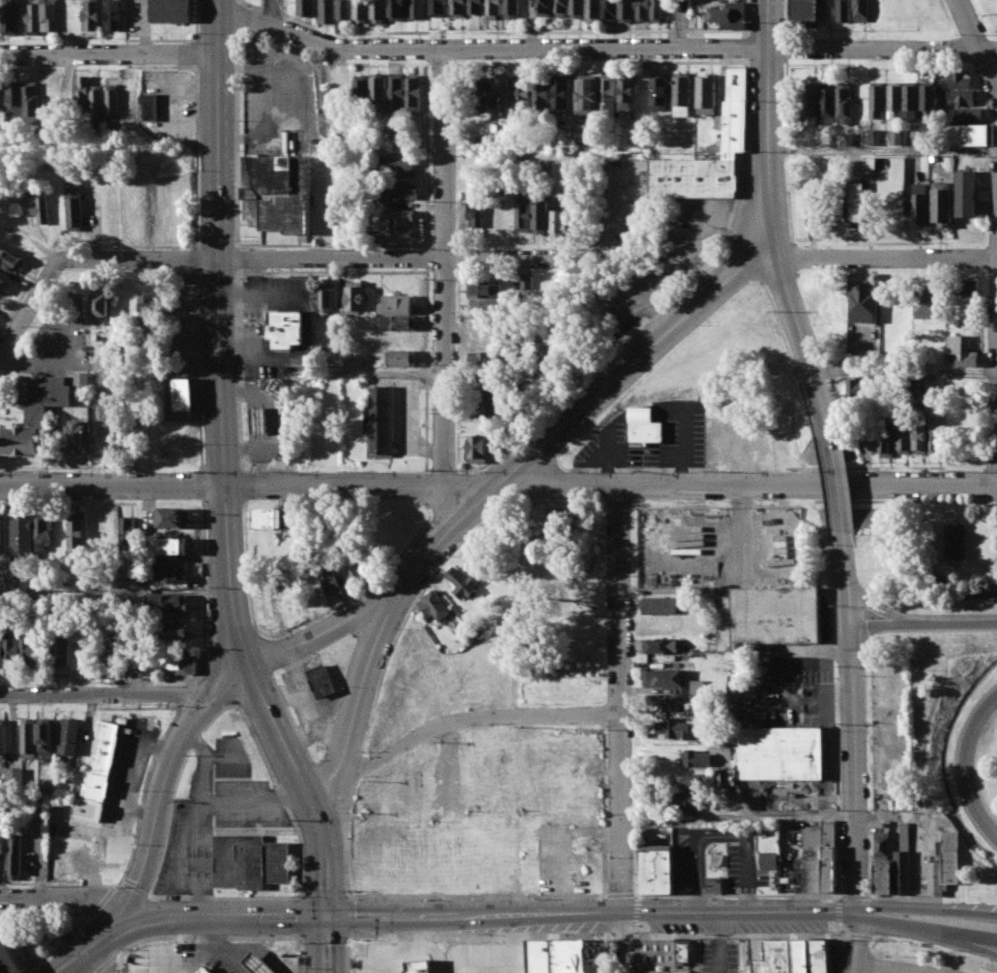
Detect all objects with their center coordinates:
road: (246, 3)
building: (477, 6)
building: (306, 7)
building: (439, 8)
building: (459, 8)
building: (512, 8)
building: (545, 8)
building: (562, 8)
building: (578, 8)
building: (417, 9)
building: (495, 9)
building: (658, 9)
building: (378, 10)
building: (397, 10)
building: (594, 10)
building: (610, 10)
building: (627, 10)
building: (643, 10)
building: (841, 10)
building: (861, 10)
building: (172, 11)
building: (327, 11)
building: (344, 11)
building: (361, 11)
building: (804, 13)
building: (92, 14)
building: (113, 14)
building: (50, 15)
building: (10, 16)
building: (34, 17)
road: (245, 17)
road: (283, 17)
building: (728, 17)
road: (748, 18)
road: (672, 23)
road: (978, 44)
road: (605, 47)
road: (748, 47)
road: (109, 53)
building: (954, 80)
building: (359, 90)
building: (82, 91)
building: (376, 92)
building: (395, 92)
building: (502, 92)
building: (523, 92)
building: (542, 92)
building: (659, 92)
building: (588, 93)
building: (628, 93)
building: (412, 94)
building: (481, 94)
building: (561, 94)
building: (682, 94)
building: (706, 94)
building: (610, 95)
building: (1, 97)
building: (15, 97)
building: (32, 97)
building: (958, 98)
road: (280, 99)
building: (876, 100)
building: (909, 100)
parking lot: (277, 101)
road: (768, 101)
building: (892, 101)
building: (926, 101)
building: (98, 102)
building: (825, 102)
building: (114, 103)
building: (842, 103)
building: (809, 104)
building: (150, 107)
building: (966, 115)
building: (734, 126)
road: (238, 135)
building: (968, 135)
building: (874, 137)
building: (895, 137)
building: (845, 139)
building: (414, 142)
road: (882, 149)
building: (869, 163)
building: (393, 166)
building: (397, 192)
building: (965, 193)
building: (281, 195)
building: (858, 201)
building: (941, 203)
building: (921, 204)
building: (42, 207)
building: (76, 209)
building: (813, 209)
building: (475, 213)
building: (540, 213)
building: (523, 214)
building: (390, 220)
building: (558, 223)
road: (765, 229)
road: (422, 245)
road: (427, 247)
road: (880, 256)
road: (321, 257)
road: (238, 258)
road: (427, 258)
building: (11, 260)
road: (780, 276)
building: (525, 281)
building: (3, 285)
building: (964, 287)
building: (482, 289)
road: (445, 292)
building: (328, 297)
building: (355, 297)
building: (928, 300)
building: (863, 302)
building: (481, 303)
building: (395, 304)
road: (31, 306)
road: (668, 306)
building: (100, 308)
building: (396, 323)
building: (286, 329)
road: (220, 332)
building: (481, 338)
building: (961, 351)
building: (874, 357)
building: (401, 358)
building: (482, 358)
road: (631, 366)
road: (427, 369)
road: (238, 370)
road: (810, 372)
road: (904, 372)
building: (82, 381)
building: (931, 382)
building: (915, 384)
building: (511, 385)
building: (482, 386)
building: (275, 389)
building: (851, 390)
building: (179, 395)
building: (481, 398)
building: (491, 402)
building: (35, 412)
building: (259, 420)
gas station: (259, 420)
building: (378, 420)
building: (643, 425)
building: (869, 433)
building: (77, 437)
building: (918, 437)
building: (936, 437)
building: (903, 438)
building: (99, 439)
building: (887, 442)
building: (475, 449)
road: (684, 449)
road: (604, 461)
road: (498, 483)
road: (245, 485)
road: (427, 485)
road: (442, 487)
road: (836, 488)
road: (427, 503)
road: (223, 504)
road: (243, 504)
building: (563, 515)
building: (323, 516)
building: (171, 517)
building: (268, 517)
road: (742, 530)
building: (127, 531)
building: (0, 532)
building: (42, 533)
building: (75, 535)
building: (21, 540)
building: (956, 540)
building: (170, 545)
parking lot: (719, 546)
building: (356, 567)
building: (169, 573)
road: (849, 580)
building: (126, 581)
road: (428, 581)
building: (462, 582)
building: (330, 583)
road: (114, 590)
road: (202, 598)
road: (390, 601)
building: (171, 602)
building: (659, 605)
building: (436, 606)
building: (767, 616)
road: (304, 624)
road: (924, 625)
building: (171, 630)
road: (256, 630)
building: (659, 644)
building: (60, 648)
building: (0, 651)
building: (16, 651)
road: (262, 653)
building: (111, 658)
building: (134, 663)
road: (156, 678)
building: (661, 678)
building: (321, 681)
building: (500, 682)
building: (557, 690)
road: (104, 696)
road: (182, 696)
road: (617, 698)
building: (665, 701)
road: (357, 704)
road: (227, 706)
road: (453, 721)
road: (291, 722)
building: (387, 728)
building: (675, 729)
building: (545, 734)
building: (42, 737)
building: (27, 738)
building: (67, 738)
building: (1, 740)
building: (576, 742)
building: (780, 753)
building: (488, 755)
building: (506, 755)
road: (225, 756)
building: (698, 758)
building: (101, 761)
road: (318, 762)
road: (961, 765)
road: (205, 766)
road: (357, 769)
road: (168, 770)
road: (852, 770)
building: (13, 778)
building: (696, 780)
road: (324, 782)
road: (301, 785)
building: (565, 788)
road: (350, 791)
road: (143, 792)
building: (690, 801)
road: (254, 804)
parking lot: (215, 816)
road: (780, 817)
road: (345, 840)
building: (1, 844)
building: (879, 845)
building: (104, 851)
building: (13, 856)
building: (817, 857)
building: (765, 861)
road: (201, 862)
building: (243, 863)
building: (941, 866)
building: (655, 870)
building: (899, 873)
building: (879, 878)
road: (115, 885)
building: (711, 885)
road: (133, 889)
road: (619, 894)
road: (474, 895)
road: (734, 895)
road: (853, 896)
road: (66, 897)
road: (224, 897)
road: (903, 898)
road: (103, 899)
road: (128, 909)
road: (927, 909)
road: (738, 913)
road: (370, 916)
traffic signals: (326, 917)
road: (926, 929)
road: (346, 935)
road: (858, 940)
road: (988, 942)
road: (63, 943)
road: (619, 943)
road: (327, 944)
road: (91, 948)
road: (221, 949)
road: (301, 953)
road: (108, 954)
building: (795, 956)
building: (813, 956)
building: (158, 957)
building: (679, 957)
building: (770, 957)
building: (573, 958)
building: (8, 961)
building: (265, 963)
gas station: (265, 963)
road: (893, 968)
road: (857, 970)
building: (207, 971)
building: (657, 972)

